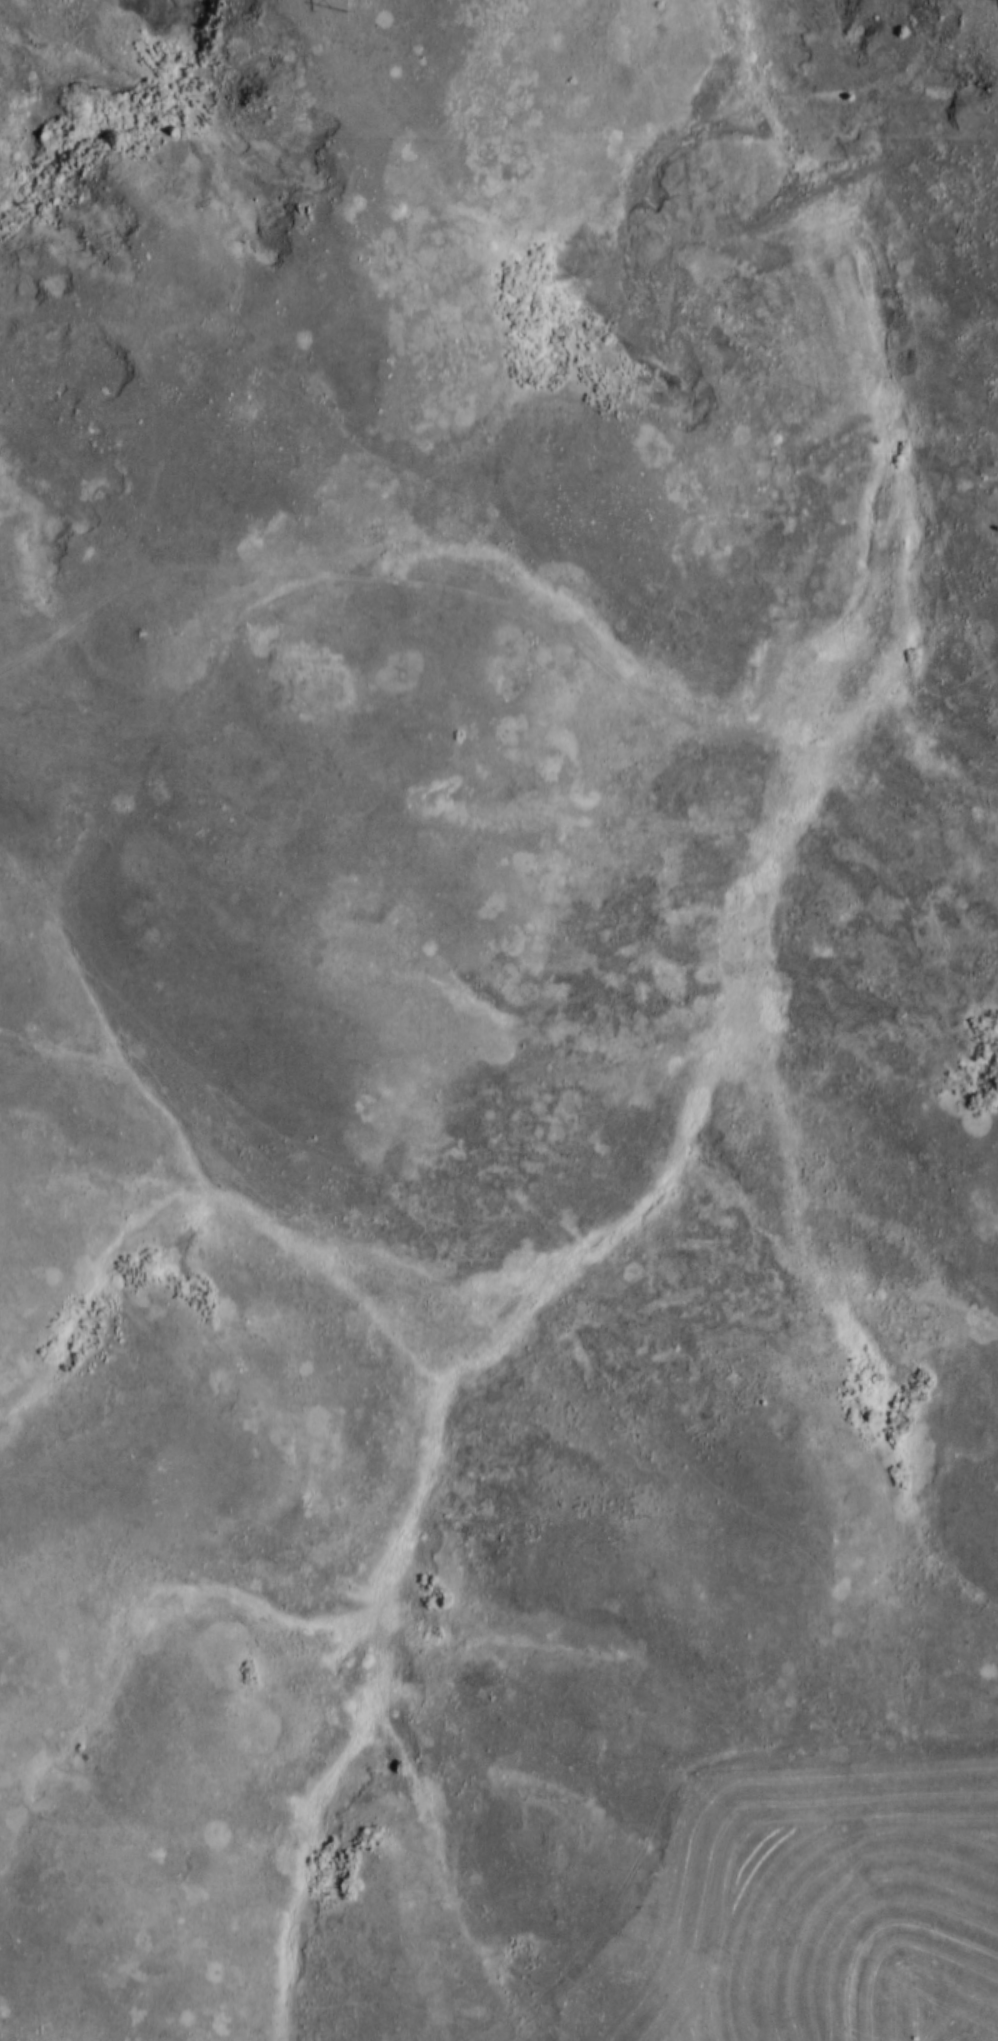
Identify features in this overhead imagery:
power tower: (352, 6)
road: (681, 1804)

